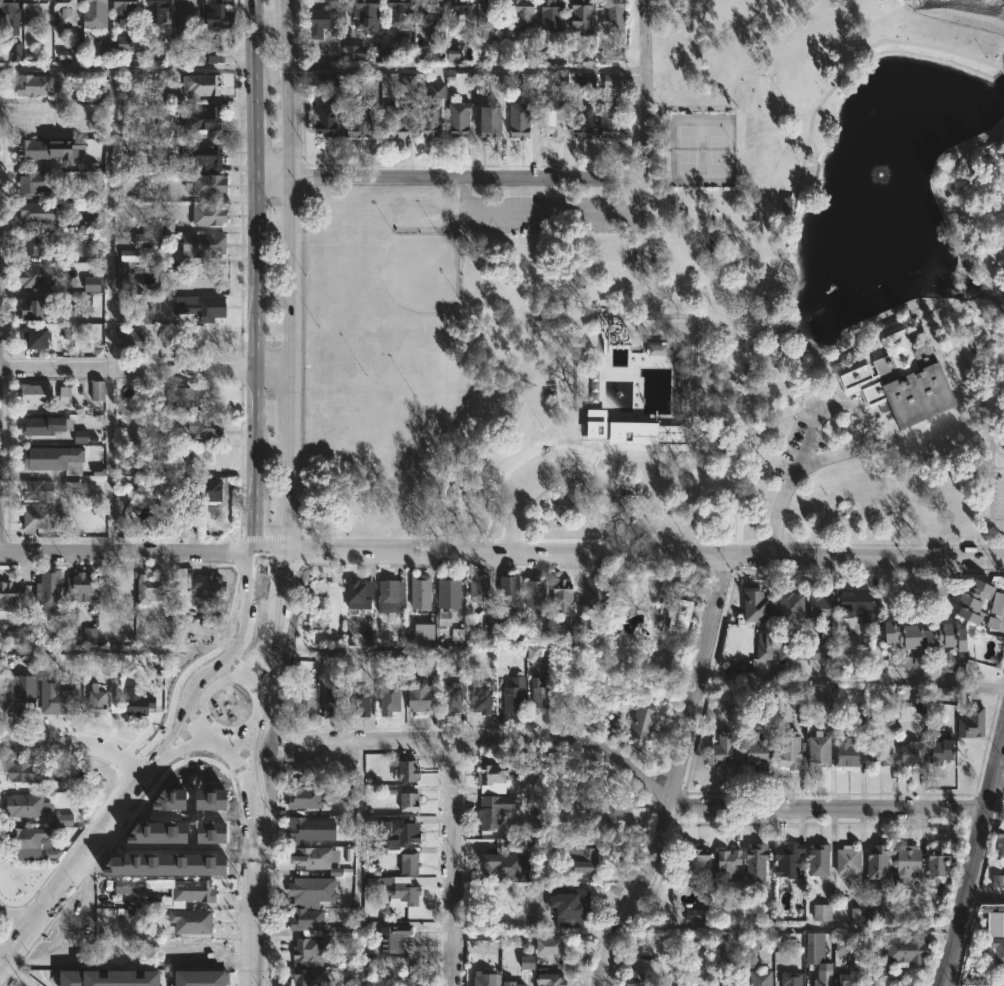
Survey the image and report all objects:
building: (158, 10)
building: (67, 11)
building: (126, 11)
building: (36, 12)
building: (97, 13)
building: (189, 13)
building: (403, 13)
building: (11, 14)
building: (368, 14)
building: (489, 14)
building: (615, 14)
building: (435, 15)
building: (553, 15)
building: (464, 16)
building: (586, 17)
building: (524, 19)
building: (329, 20)
building: (219, 26)
building: (129, 42)
building: (105, 49)
building: (13, 52)
building: (71, 52)
building: (355, 52)
building: (421, 52)
building: (613, 53)
building: (453, 54)
building: (196, 55)
building: (574, 56)
building: (541, 57)
road: (178, 67)
road: (465, 67)
road: (1002, 70)
building: (328, 78)
building: (611, 80)
building: (370, 81)
building: (408, 81)
building: (585, 81)
building: (36, 84)
building: (202, 84)
road: (647, 89)
building: (436, 91)
building: (91, 98)
building: (37, 115)
building: (360, 116)
building: (205, 117)
building: (552, 117)
building: (328, 118)
building: (462, 118)
building: (522, 119)
building: (399, 120)
building: (432, 120)
building: (496, 120)
building: (614, 120)
building: (584, 122)
building: (74, 128)
building: (37, 148)
park: (700, 150)
building: (205, 155)
road: (108, 165)
road: (268, 178)
road: (465, 178)
building: (38, 180)
building: (209, 184)
road: (940, 203)
building: (38, 212)
road: (549, 213)
building: (211, 214)
parking lot: (549, 214)
building: (150, 239)
building: (37, 242)
building: (205, 244)
building: (130, 255)
building: (37, 275)
road: (253, 276)
park: (422, 276)
road: (285, 277)
building: (122, 278)
building: (92, 284)
building: (84, 303)
building: (203, 307)
park: (693, 307)
building: (38, 309)
building: (143, 311)
road: (1003, 325)
building: (38, 337)
building: (133, 337)
building: (656, 348)
road: (947, 351)
road: (770, 355)
road: (729, 358)
road: (788, 362)
road: (127, 370)
road: (271, 372)
building: (912, 380)
building: (97, 390)
building: (39, 393)
building: (66, 396)
building: (184, 396)
building: (680, 420)
road: (781, 423)
building: (47, 425)
building: (206, 426)
road: (748, 427)
building: (618, 430)
building: (662, 435)
building: (80, 436)
parking lot: (801, 441)
road: (850, 446)
road: (696, 447)
road: (793, 451)
road: (997, 451)
building: (168, 456)
building: (57, 459)
road: (563, 464)
building: (130, 467)
road: (998, 469)
building: (98, 471)
building: (207, 489)
parking lot: (520, 489)
building: (38, 490)
building: (172, 490)
parking lot: (998, 496)
building: (40, 519)
building: (178, 523)
road: (646, 552)
road: (127, 553)
road: (271, 554)
building: (83, 585)
building: (208, 586)
building: (481, 587)
building: (152, 588)
building: (422, 591)
building: (451, 591)
building: (50, 592)
building: (361, 593)
building: (511, 594)
building: (599, 594)
building: (537, 595)
building: (9, 596)
building: (392, 596)
building: (564, 596)
building: (970, 599)
building: (997, 603)
building: (785, 604)
building: (754, 605)
building: (817, 606)
building: (855, 608)
building: (674, 613)
road: (242, 615)
building: (444, 617)
building: (29, 618)
building: (578, 630)
building: (427, 631)
road: (276, 632)
building: (19, 634)
building: (89, 634)
building: (457, 634)
building: (367, 635)
building: (920, 636)
building: (768, 646)
building: (791, 651)
building: (817, 652)
building: (533, 653)
building: (458, 657)
building: (898, 660)
building: (952, 665)
road: (851, 676)
building: (21, 691)
building: (0, 694)
building: (421, 694)
building: (944, 694)
building: (454, 695)
building: (516, 696)
building: (390, 697)
building: (335, 698)
building: (483, 698)
building: (543, 699)
building: (98, 700)
road: (263, 702)
building: (307, 702)
building: (361, 702)
building: (59, 703)
building: (139, 703)
building: (827, 707)
building: (1, 708)
building: (907, 713)
building: (641, 719)
building: (971, 722)
road: (168, 734)
building: (818, 741)
road: (41, 744)
road: (174, 746)
building: (754, 748)
building: (938, 749)
building: (722, 750)
building: (844, 753)
building: (876, 753)
building: (906, 753)
road: (111, 755)
road: (621, 761)
road: (253, 768)
building: (520, 769)
building: (411, 771)
building: (31, 772)
road: (239, 773)
road: (675, 773)
building: (495, 778)
building: (79, 783)
road: (997, 788)
building: (348, 790)
building: (306, 797)
building: (197, 800)
building: (411, 802)
building: (29, 806)
building: (598, 810)
building: (492, 813)
building: (64, 819)
building: (310, 830)
building: (406, 831)
building: (211, 832)
building: (1000, 840)
building: (30, 843)
building: (190, 843)
building: (52, 853)
building: (816, 858)
building: (593, 859)
road: (974, 859)
building: (318, 860)
building: (788, 860)
building: (756, 861)
building: (846, 861)
building: (904, 861)
building: (135, 862)
road: (453, 862)
building: (728, 862)
road: (76, 863)
building: (411, 863)
building: (875, 863)
building: (693, 865)
building: (937, 865)
building: (505, 866)
building: (997, 880)
building: (1003, 881)
building: (129, 888)
building: (314, 889)
building: (399, 889)
road: (254, 892)
building: (185, 894)
road: (985, 894)
building: (560, 907)
building: (934, 908)
building: (821, 912)
building: (857, 914)
building: (692, 915)
building: (889, 917)
road: (20, 918)
building: (193, 921)
building: (317, 922)
building: (995, 924)
road: (791, 927)
building: (392, 938)
building: (779, 945)
building: (841, 945)
building: (551, 946)
building: (900, 951)
building: (996, 951)
building: (196, 952)
building: (311, 952)
building: (644, 952)
building: (527, 962)
road: (16, 976)
building: (309, 977)
building: (848, 977)
building: (108, 978)
building: (639, 978)
building: (761, 978)
building: (186, 979)
building: (488, 979)
building: (734, 979)
building: (791, 979)
building: (820, 979)
building: (554, 980)
building: (424, 983)
building: (514, 984)
building: (900, 984)

